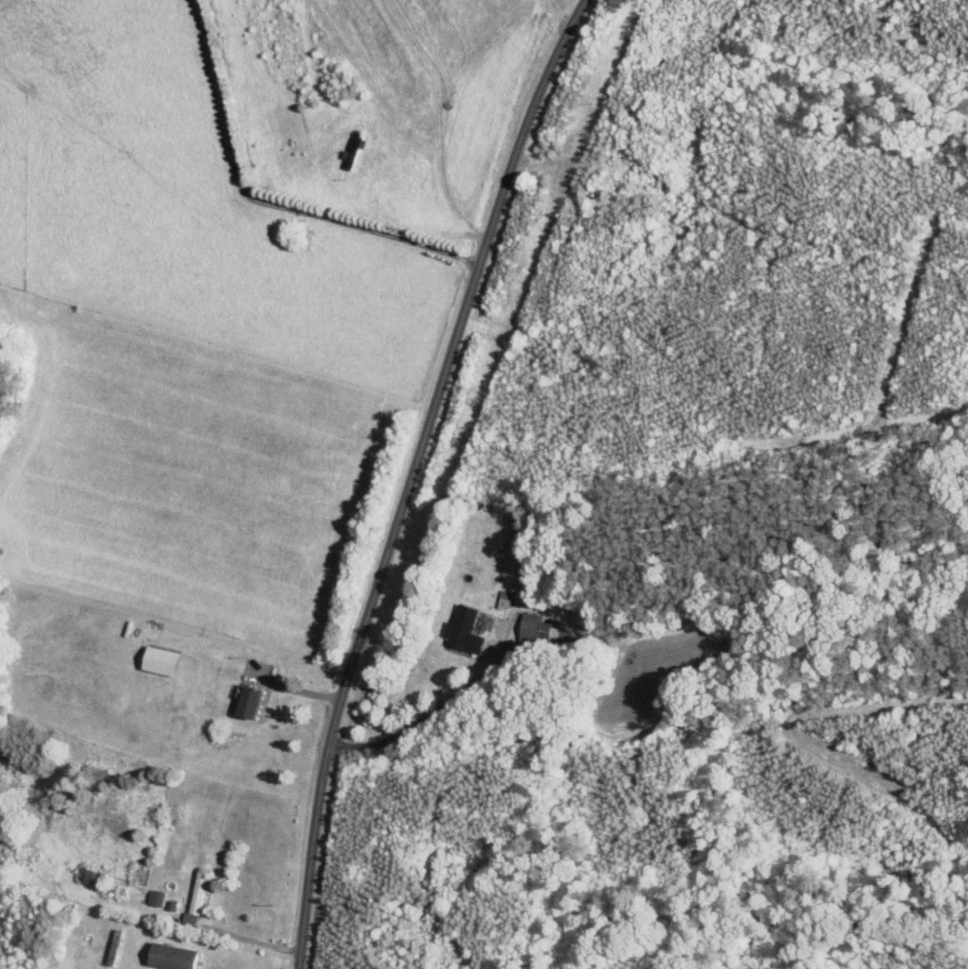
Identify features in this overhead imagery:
road: (558, 12)
road: (264, 202)
road: (411, 476)
building: (506, 598)
building: (537, 628)
building: (164, 660)
road: (304, 684)
building: (253, 701)
road: (428, 715)
building: (158, 897)
building: (197, 897)
road: (250, 938)
building: (175, 956)

